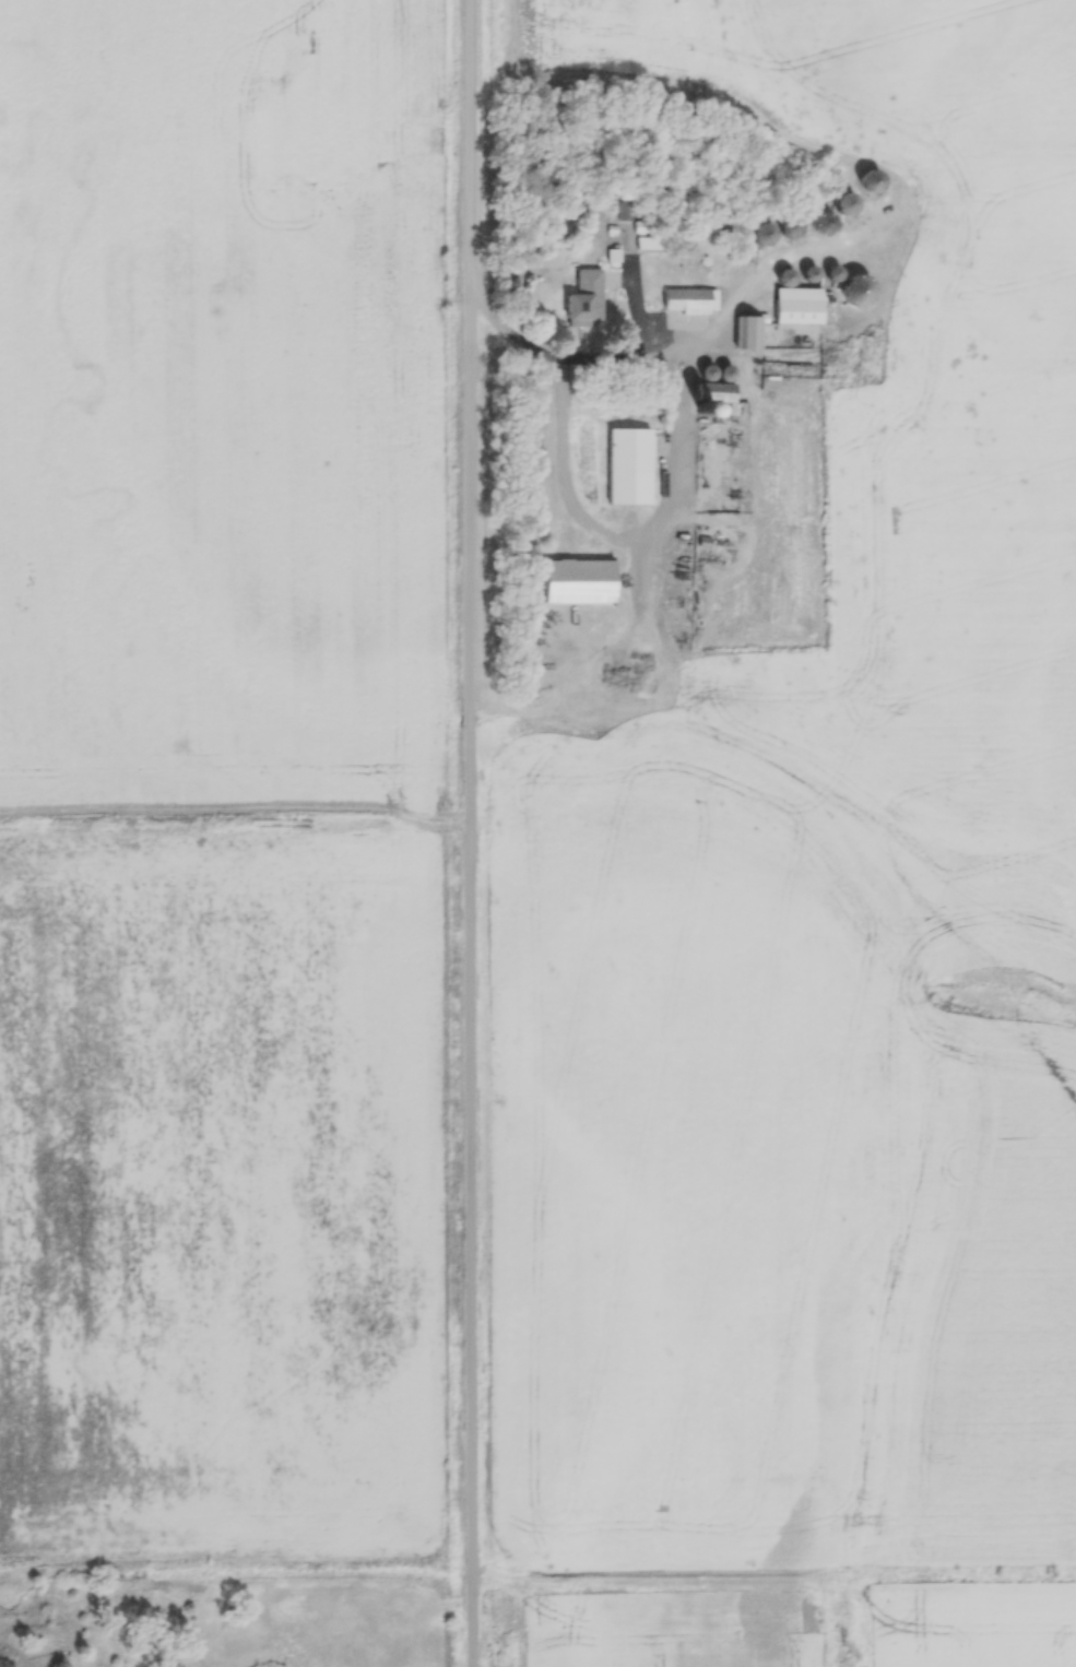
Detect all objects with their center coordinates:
building: (797, 227)
building: (814, 274)
building: (697, 297)
building: (588, 298)
building: (803, 306)
building: (750, 332)
building: (720, 391)
building: (632, 465)
building: (584, 580)
road: (470, 833)

